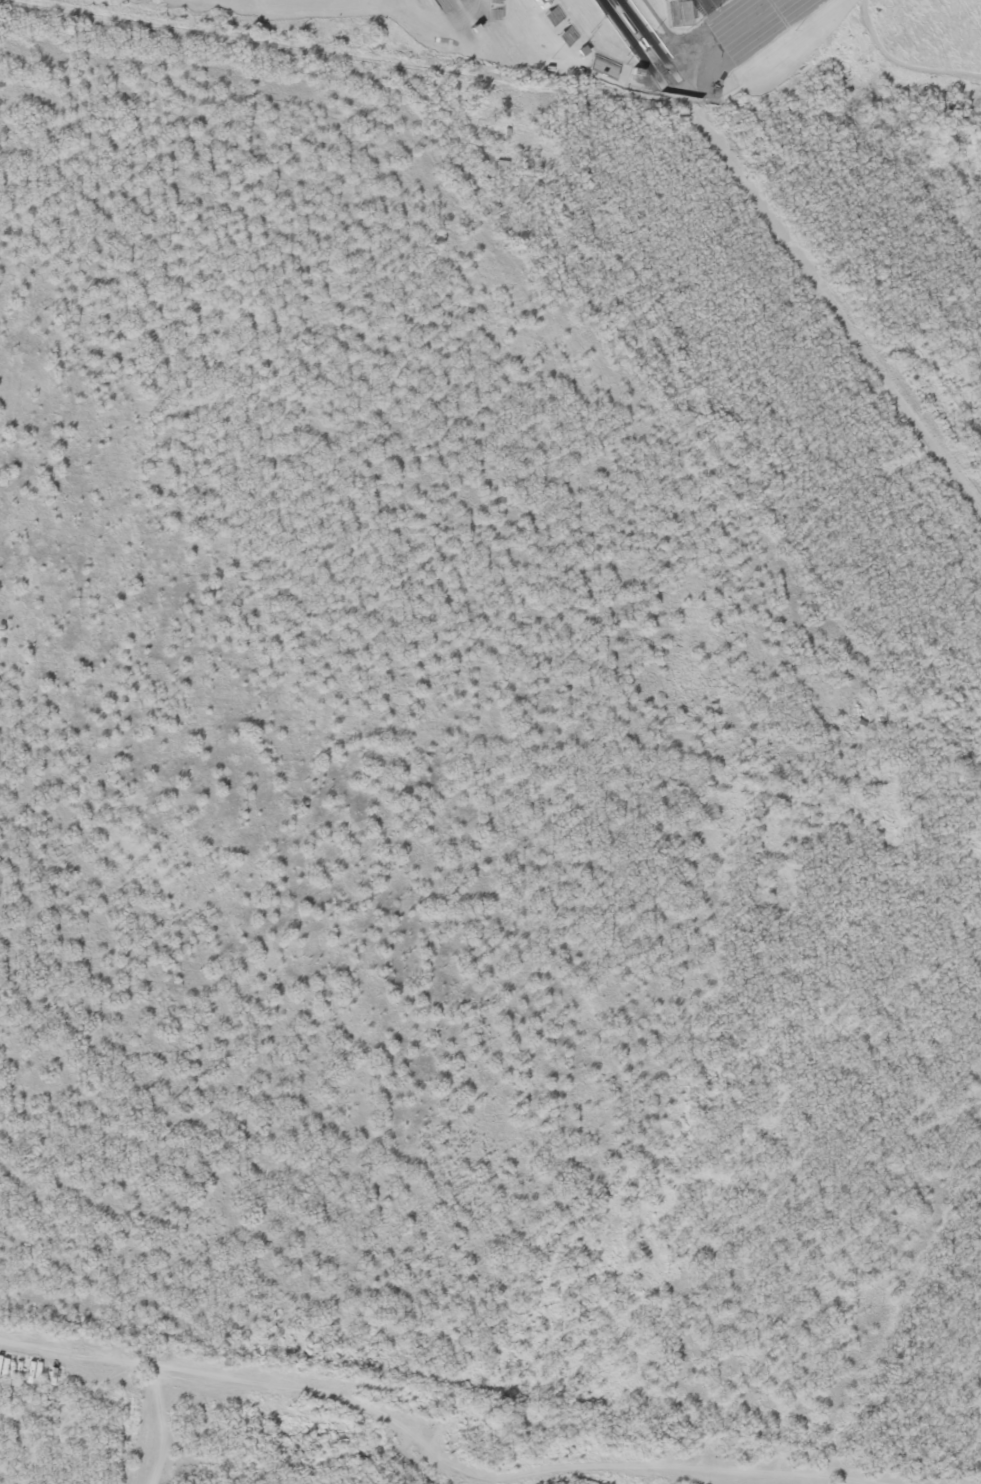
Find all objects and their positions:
raceway: (626, 32)
parking lot: (714, 32)
road: (669, 78)

